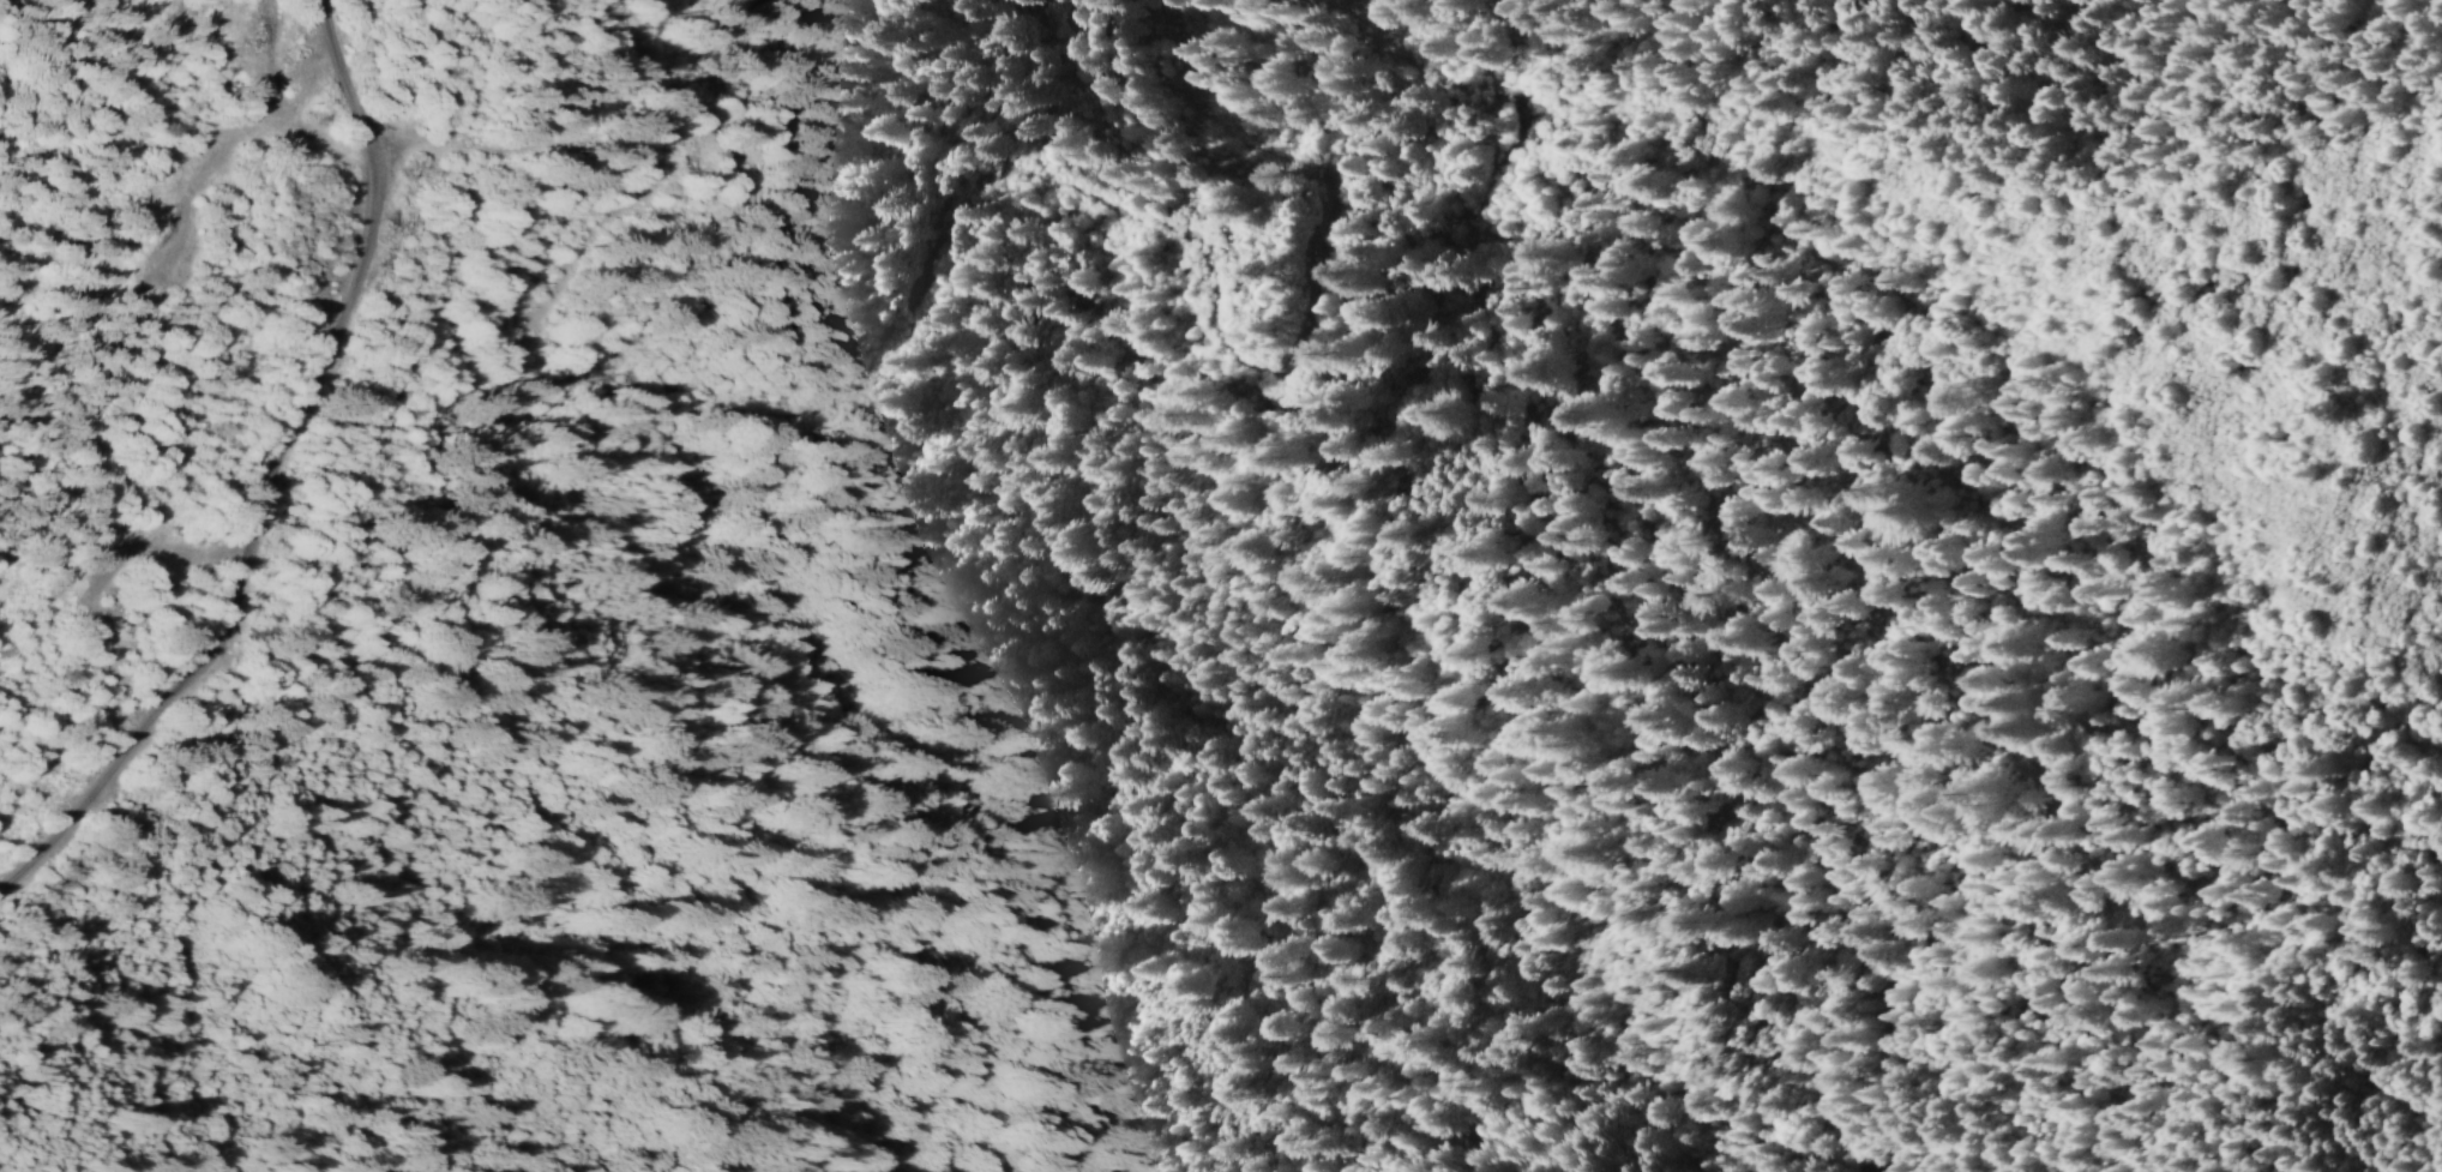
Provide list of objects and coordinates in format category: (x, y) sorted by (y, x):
road: (269, 479)

